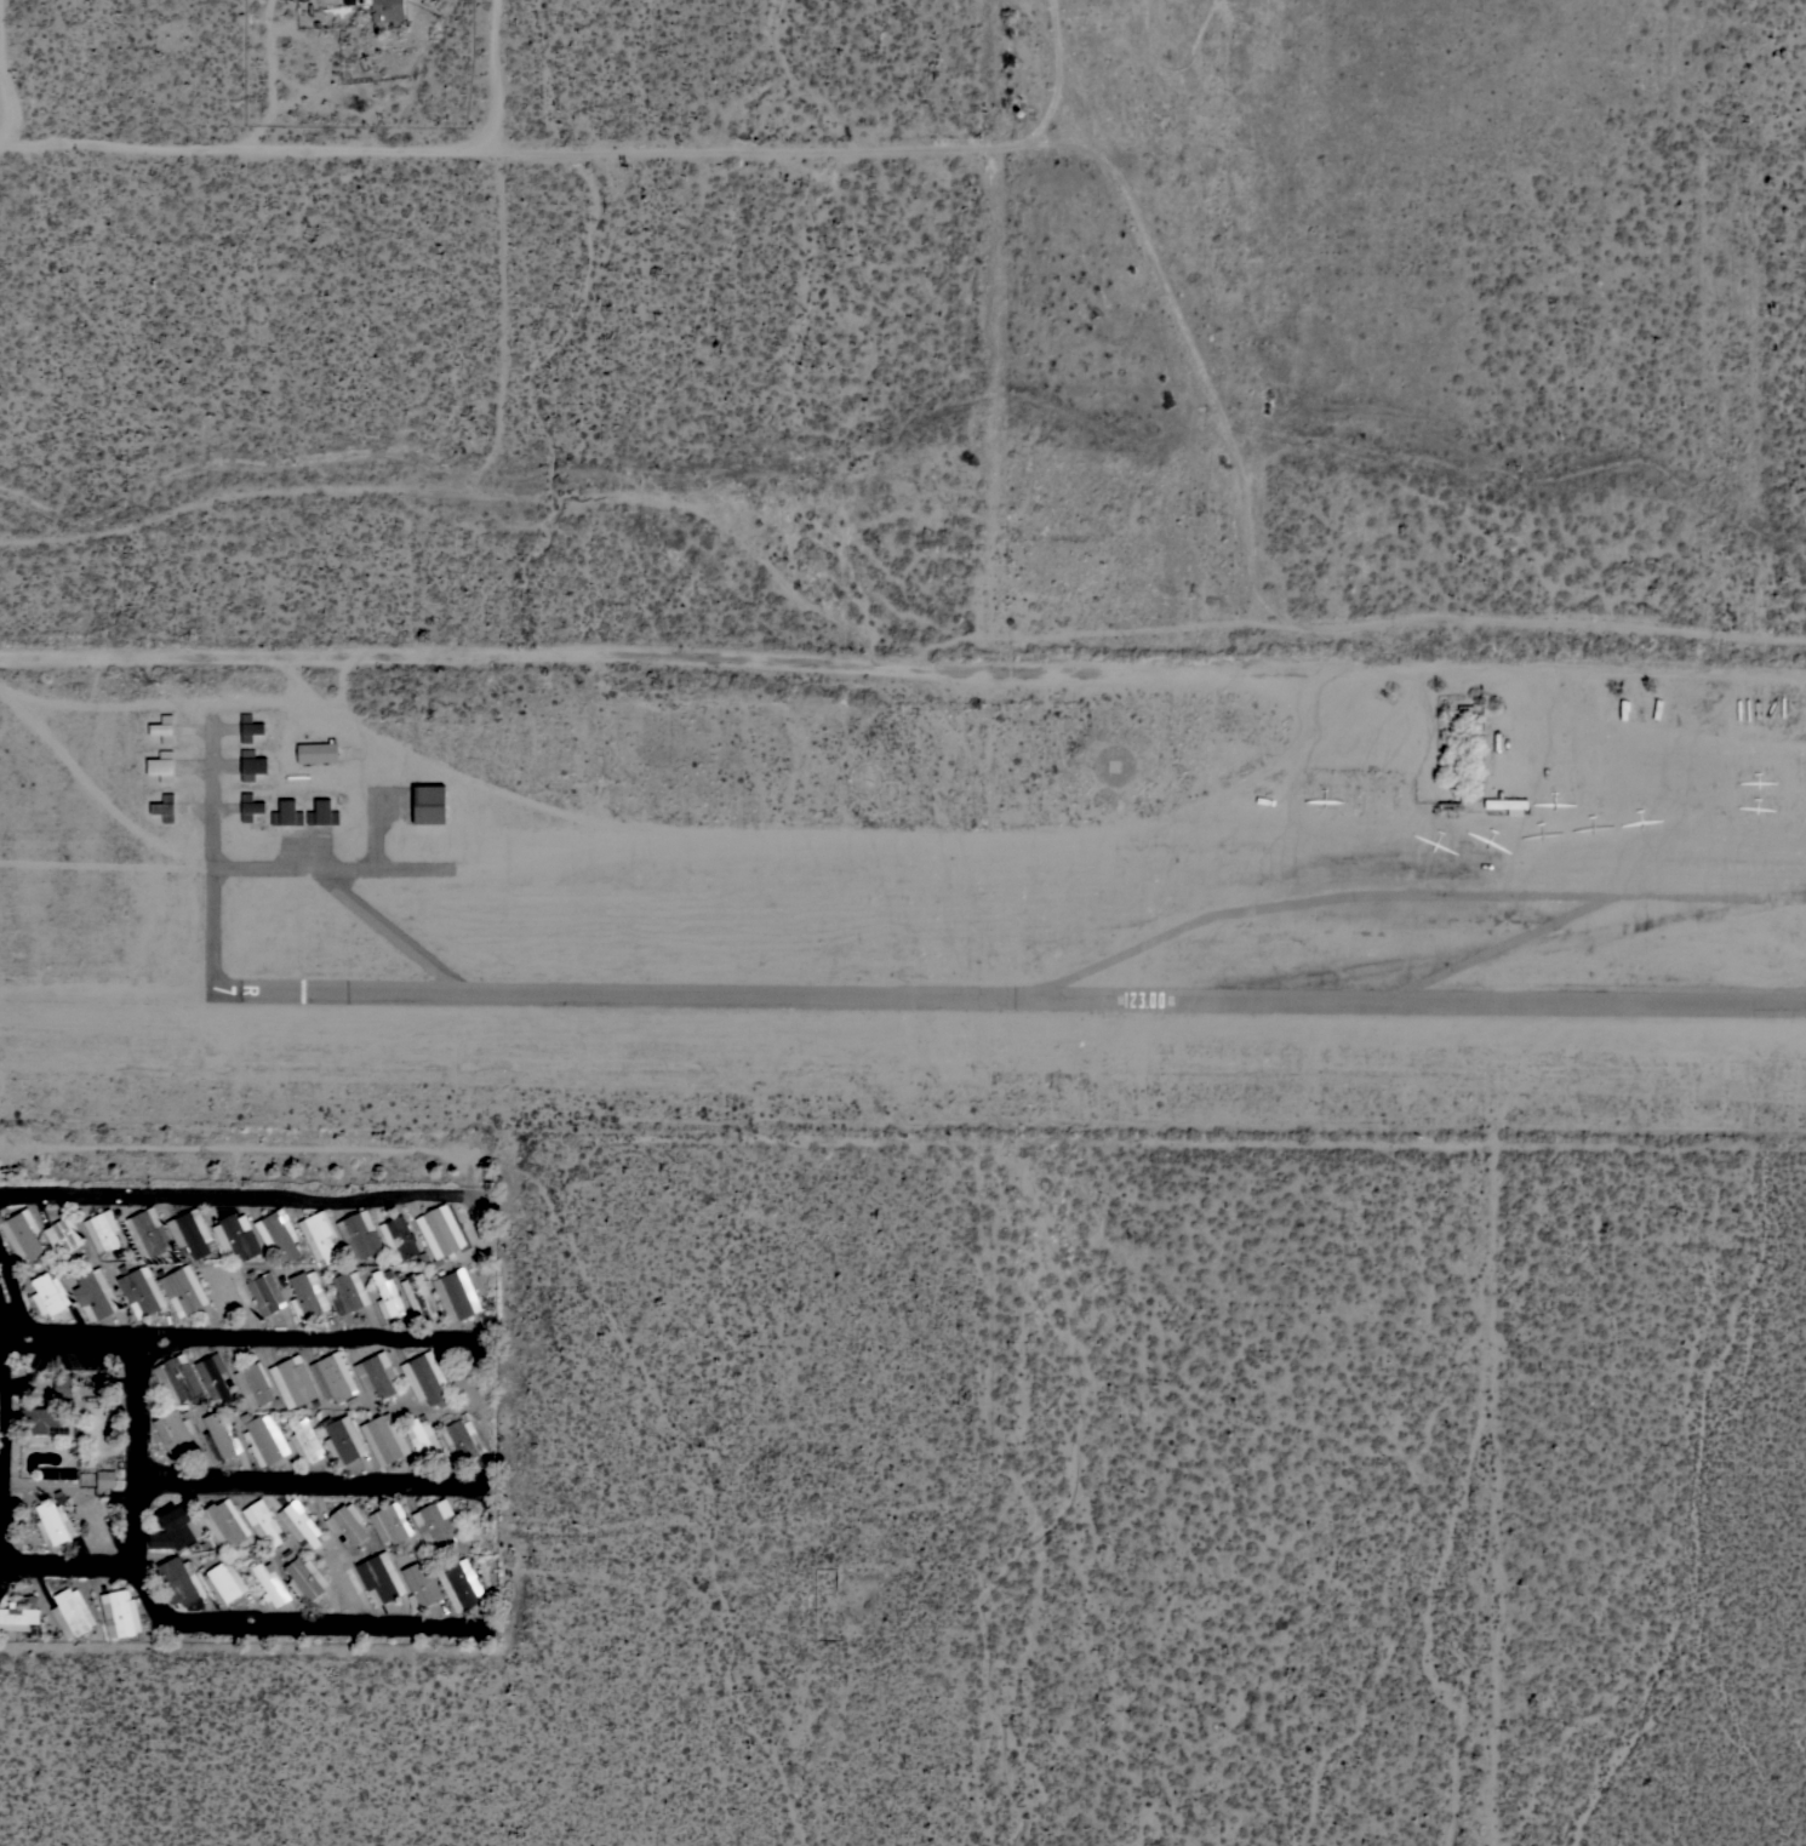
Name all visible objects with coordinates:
building: (387, 10)
road: (4, 72)
road: (499, 74)
road: (274, 75)
road: (547, 148)
road: (1178, 328)
road: (1511, 615)
road: (606, 653)
building: (162, 728)
building: (248, 728)
building: (316, 751)
building: (251, 765)
building: (161, 766)
building: (1471, 787)
building: (1509, 802)
building: (428, 804)
building: (250, 806)
building: (1452, 806)
building: (164, 807)
building: (286, 813)
building: (321, 813)
airport apron: (336, 852)
airport: (904, 896)
airport runway: (1012, 998)
road: (238, 1193)
building: (101, 1230)
building: (147, 1231)
building: (439, 1231)
building: (189, 1233)
building: (278, 1234)
building: (22, 1235)
building: (62, 1235)
building: (359, 1235)
building: (236, 1236)
building: (319, 1236)
building: (398, 1239)
building: (182, 1288)
building: (141, 1290)
building: (264, 1292)
building: (348, 1292)
building: (50, 1293)
building: (95, 1293)
building: (227, 1293)
building: (455, 1293)
building: (307, 1295)
building: (388, 1295)
building: (418, 1296)
road: (10, 1301)
road: (242, 1333)
building: (376, 1375)
building: (213, 1377)
building: (333, 1377)
building: (424, 1378)
building: (177, 1379)
building: (292, 1382)
building: (255, 1385)
building: (62, 1387)
building: (44, 1418)
building: (178, 1435)
building: (221, 1435)
building: (263, 1438)
building: (384, 1439)
building: (304, 1440)
building: (342, 1440)
building: (423, 1440)
building: (462, 1440)
road: (2, 1445)
road: (135, 1446)
road: (1, 1473)
building: (58, 1474)
building: (104, 1479)
road: (310, 1481)
building: (55, 1520)
building: (262, 1521)
building: (98, 1522)
building: (298, 1522)
building: (392, 1522)
building: (224, 1524)
building: (347, 1524)
building: (436, 1525)
building: (175, 1526)
building: (379, 1578)
building: (304, 1579)
building: (179, 1581)
building: (223, 1581)
building: (345, 1583)
building: (270, 1584)
building: (461, 1584)
building: (422, 1585)
building: (70, 1613)
building: (119, 1613)
building: (22, 1617)
road: (222, 1623)

